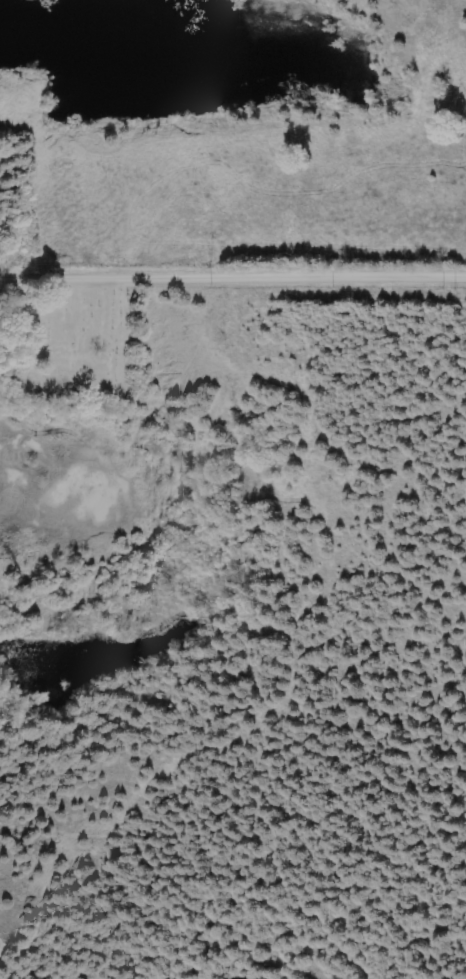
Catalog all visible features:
road: (232, 275)
park: (73, 344)

